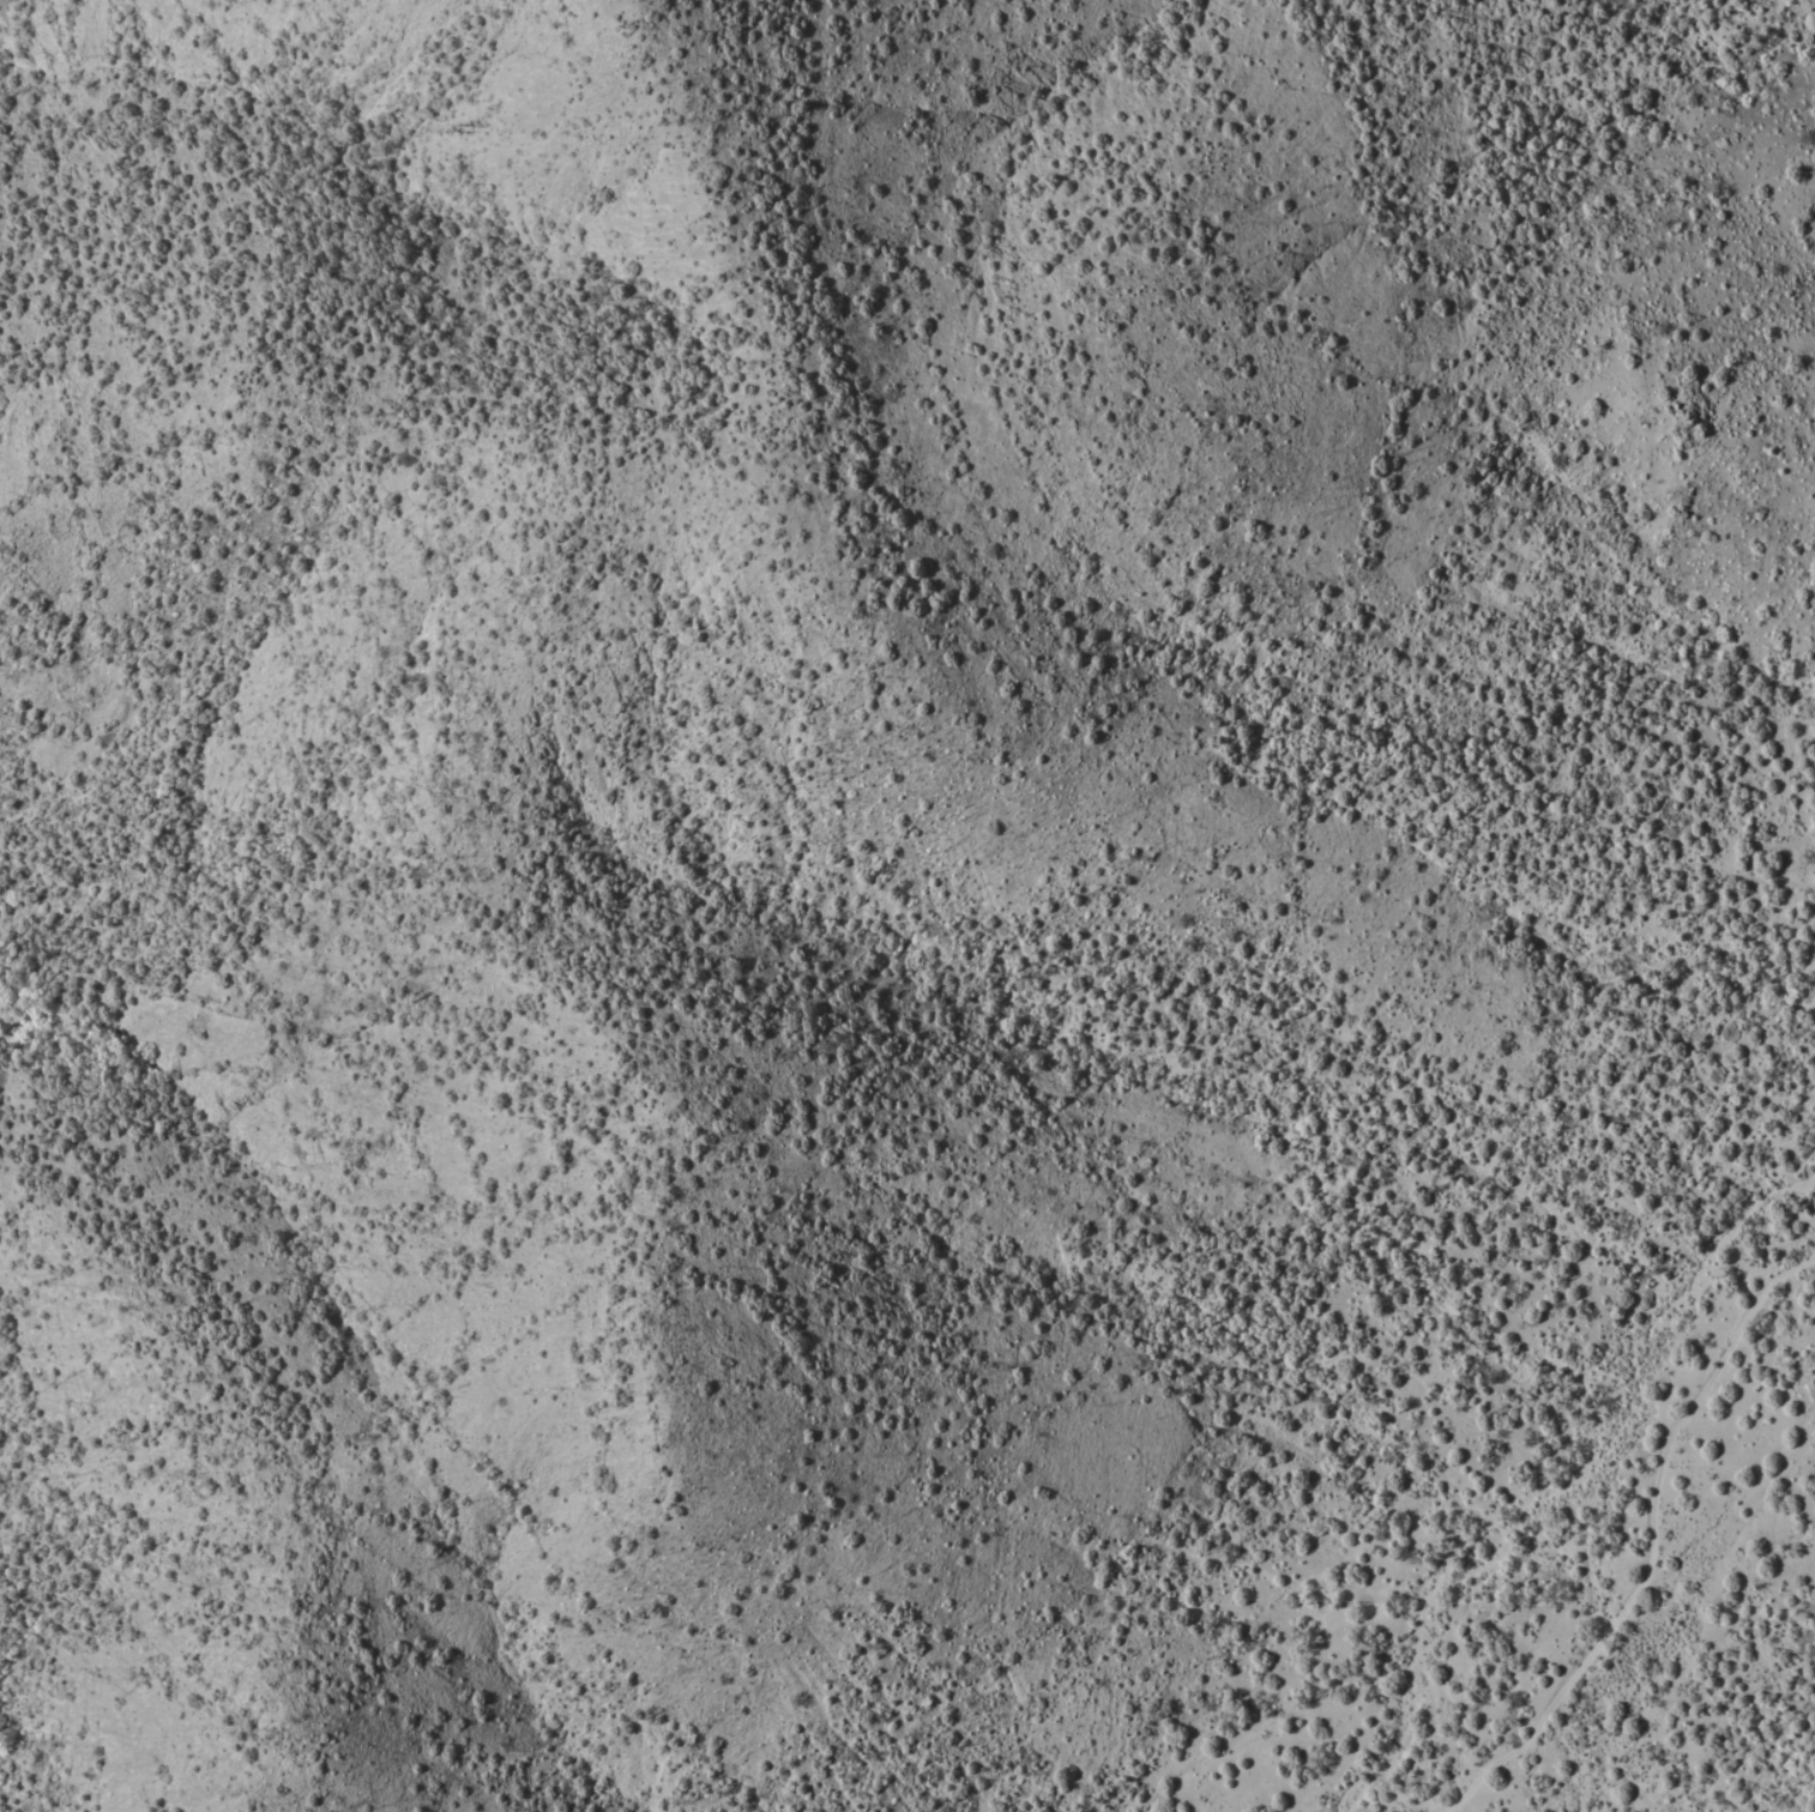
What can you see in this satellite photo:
road: (1647, 1541)

